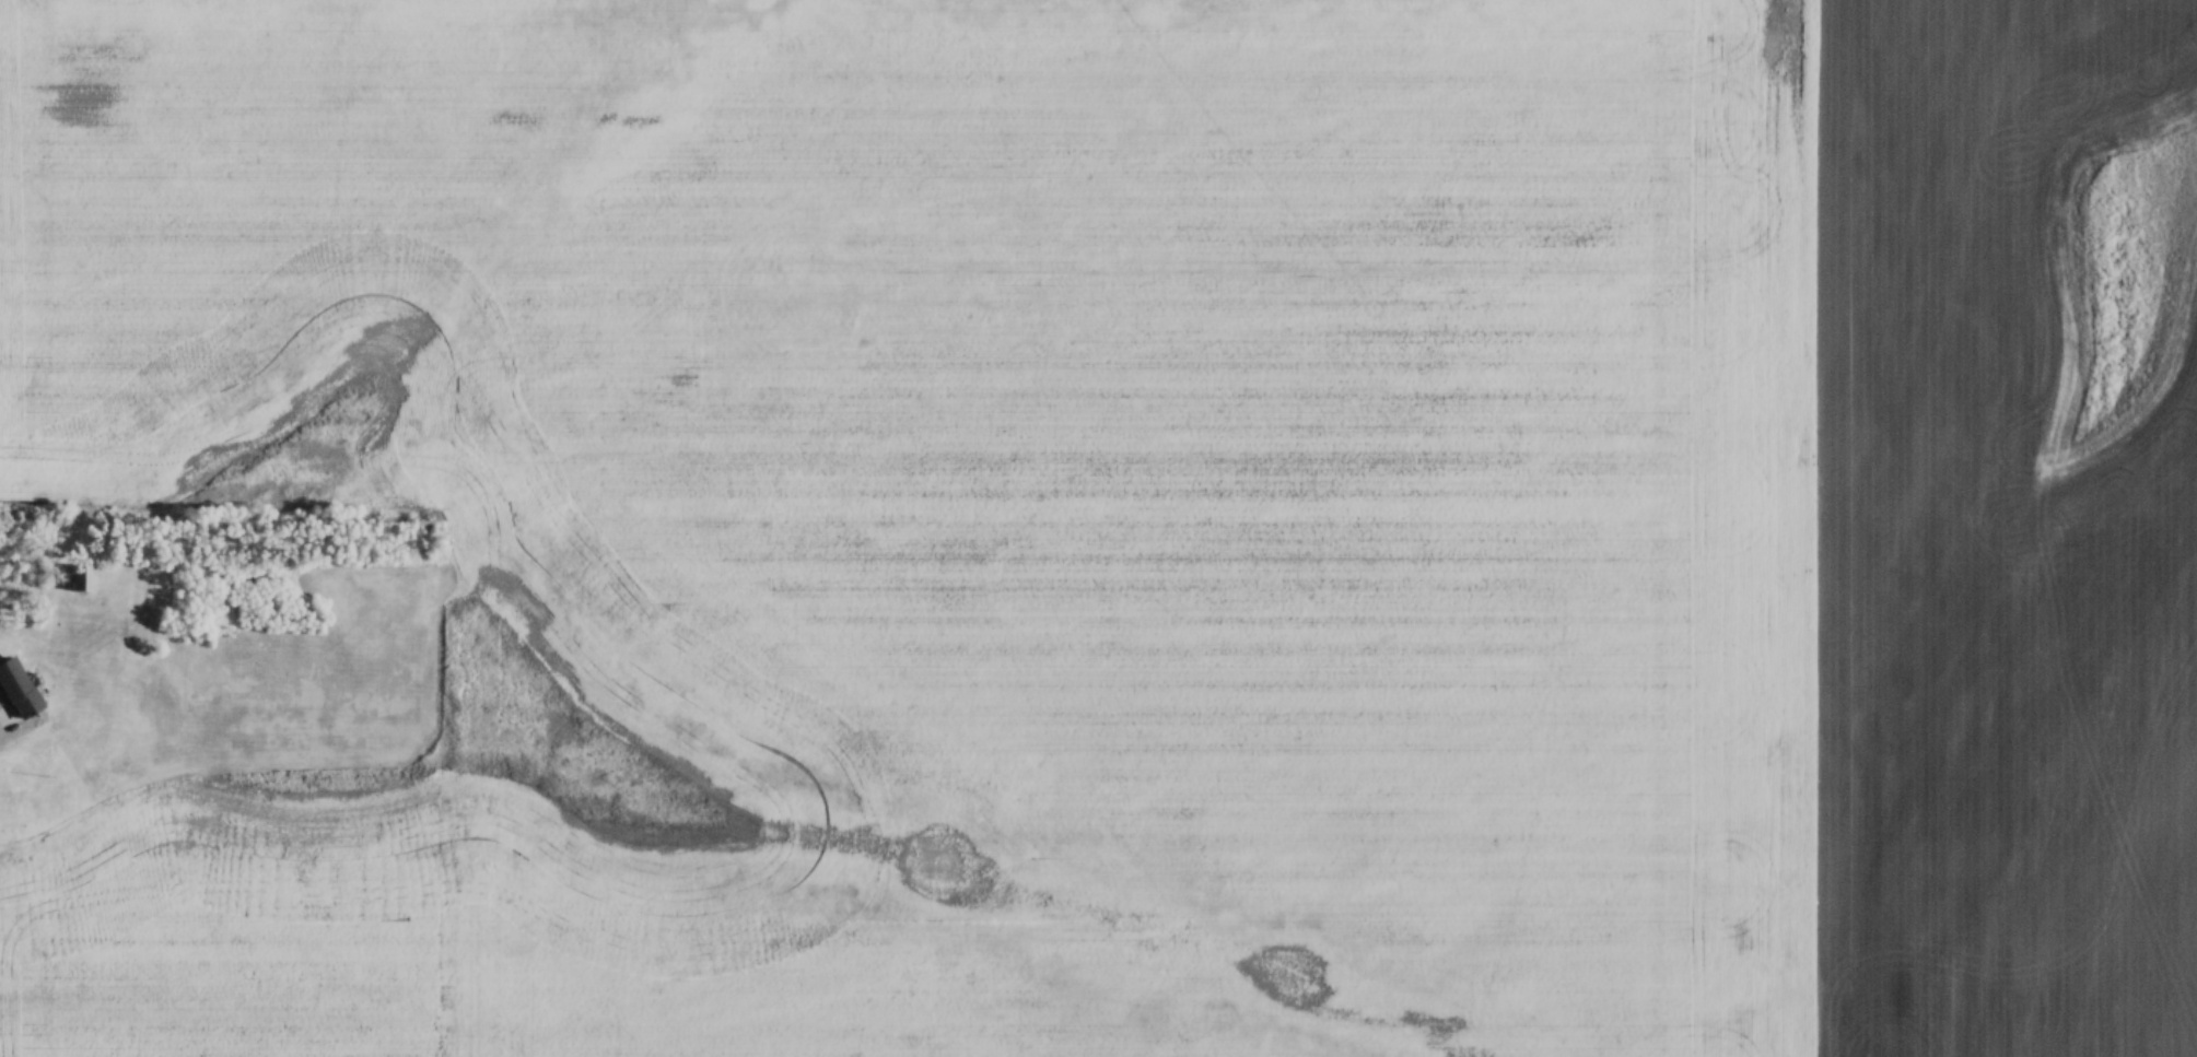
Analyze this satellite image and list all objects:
building: (78, 576)
building: (12, 672)
building: (4, 768)

